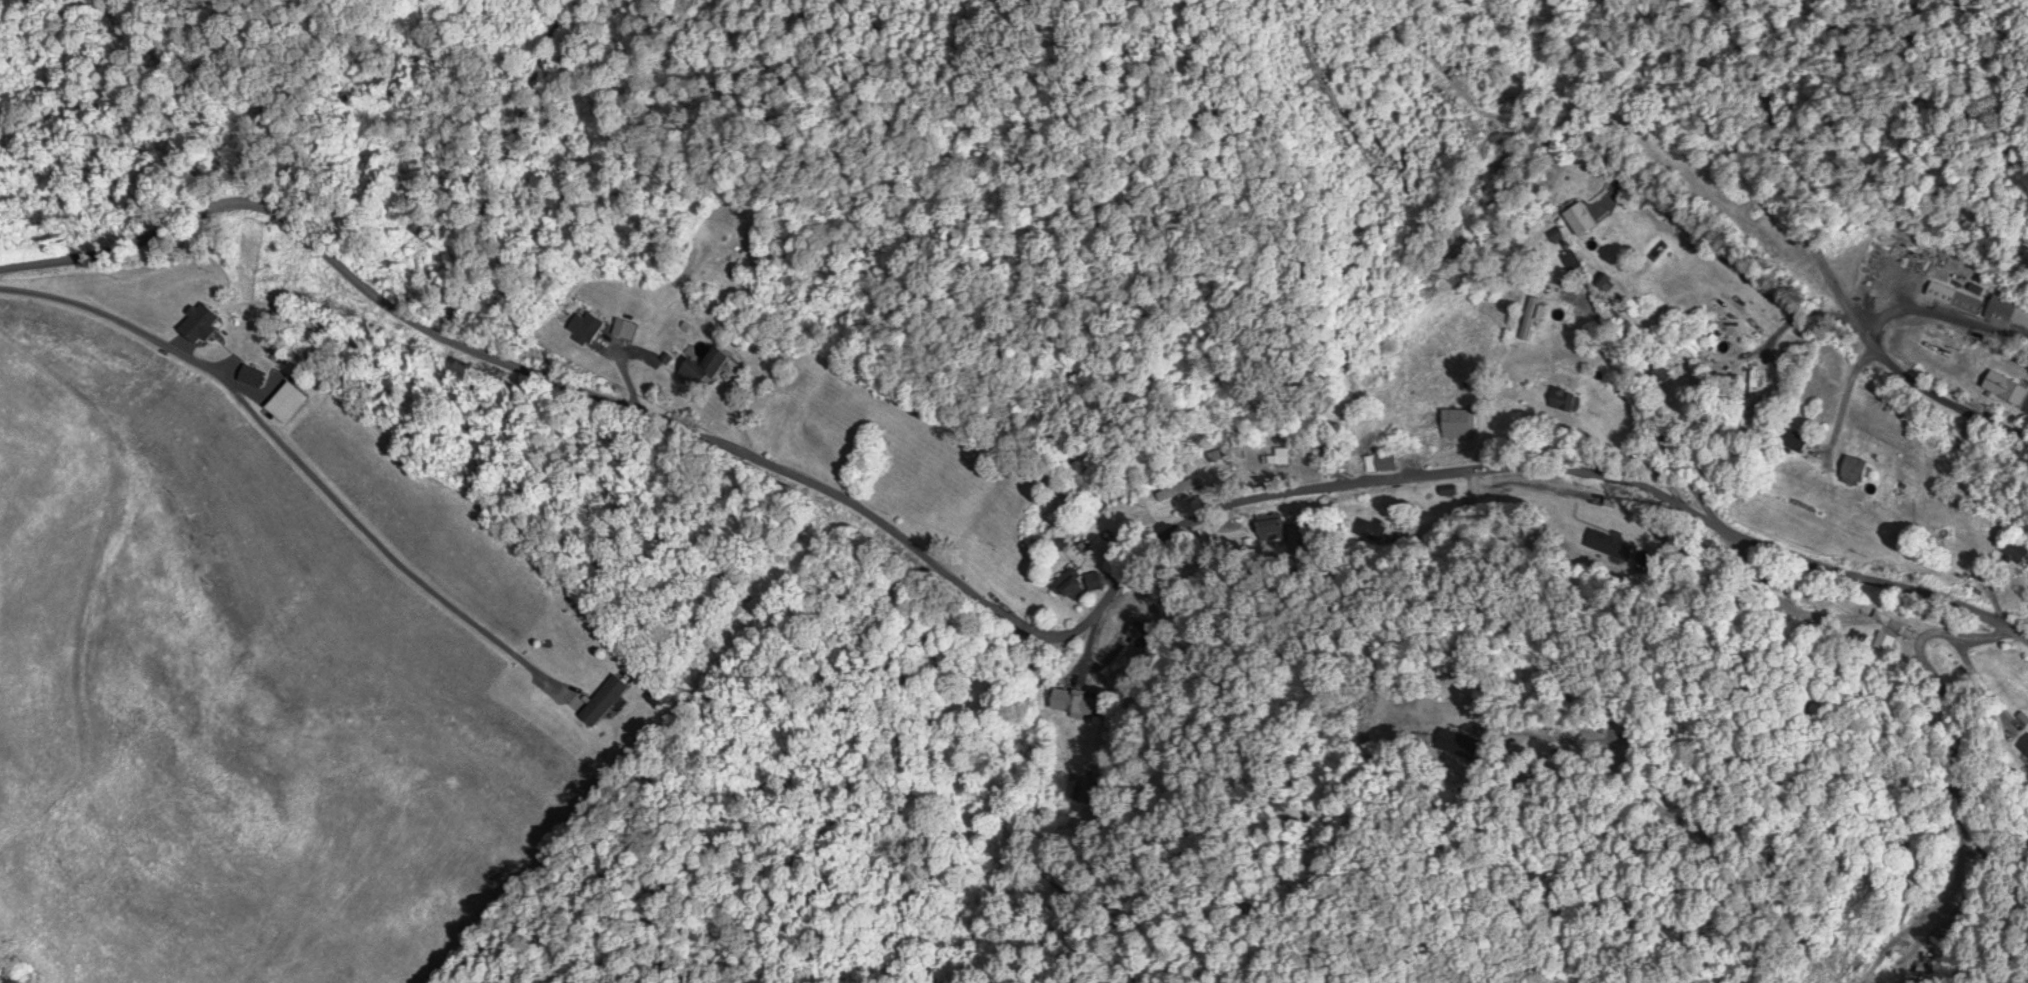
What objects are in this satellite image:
building: (1583, 233)
road: (1832, 253)
building: (1954, 297)
building: (1532, 316)
building: (198, 324)
building: (583, 326)
building: (623, 329)
building: (704, 364)
building: (1660, 373)
building: (251, 375)
building: (2005, 387)
building: (1754, 389)
building: (1564, 399)
building: (287, 402)
building: (1459, 423)
building: (1280, 456)
building: (1387, 462)
building: (1853, 470)
building: (1180, 489)
building: (1449, 490)
building: (1273, 526)
building: (2014, 550)
building: (1074, 584)
road: (999, 605)
building: (1795, 606)
building: (1146, 632)
building: (603, 700)
building: (1075, 702)
building: (2024, 749)
building: (1091, 791)

